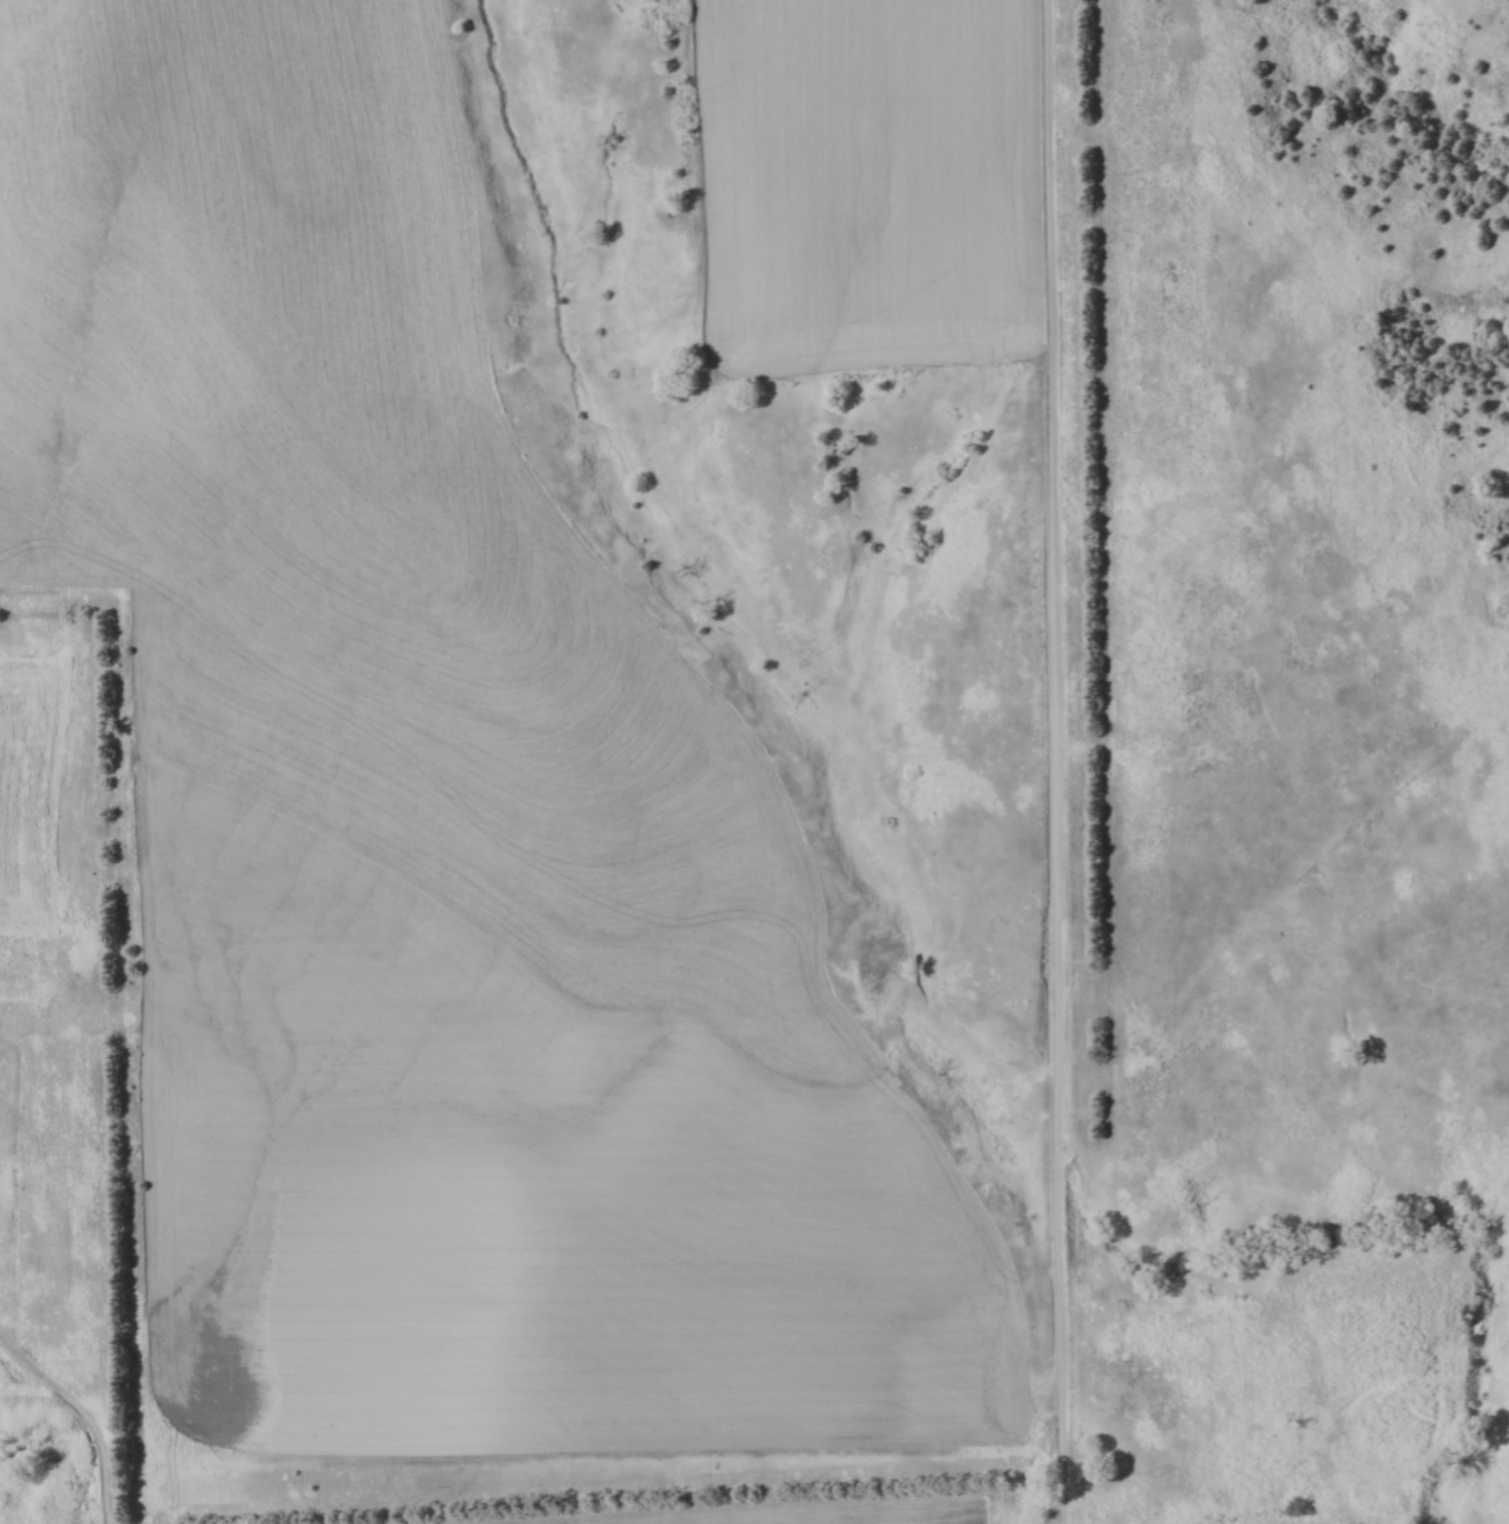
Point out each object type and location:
crop: (360, 507)
road: (1056, 761)
crop: (31, 783)
park: (1099, 821)
crop: (513, 1189)
road: (89, 1409)
crop: (785, 1512)

